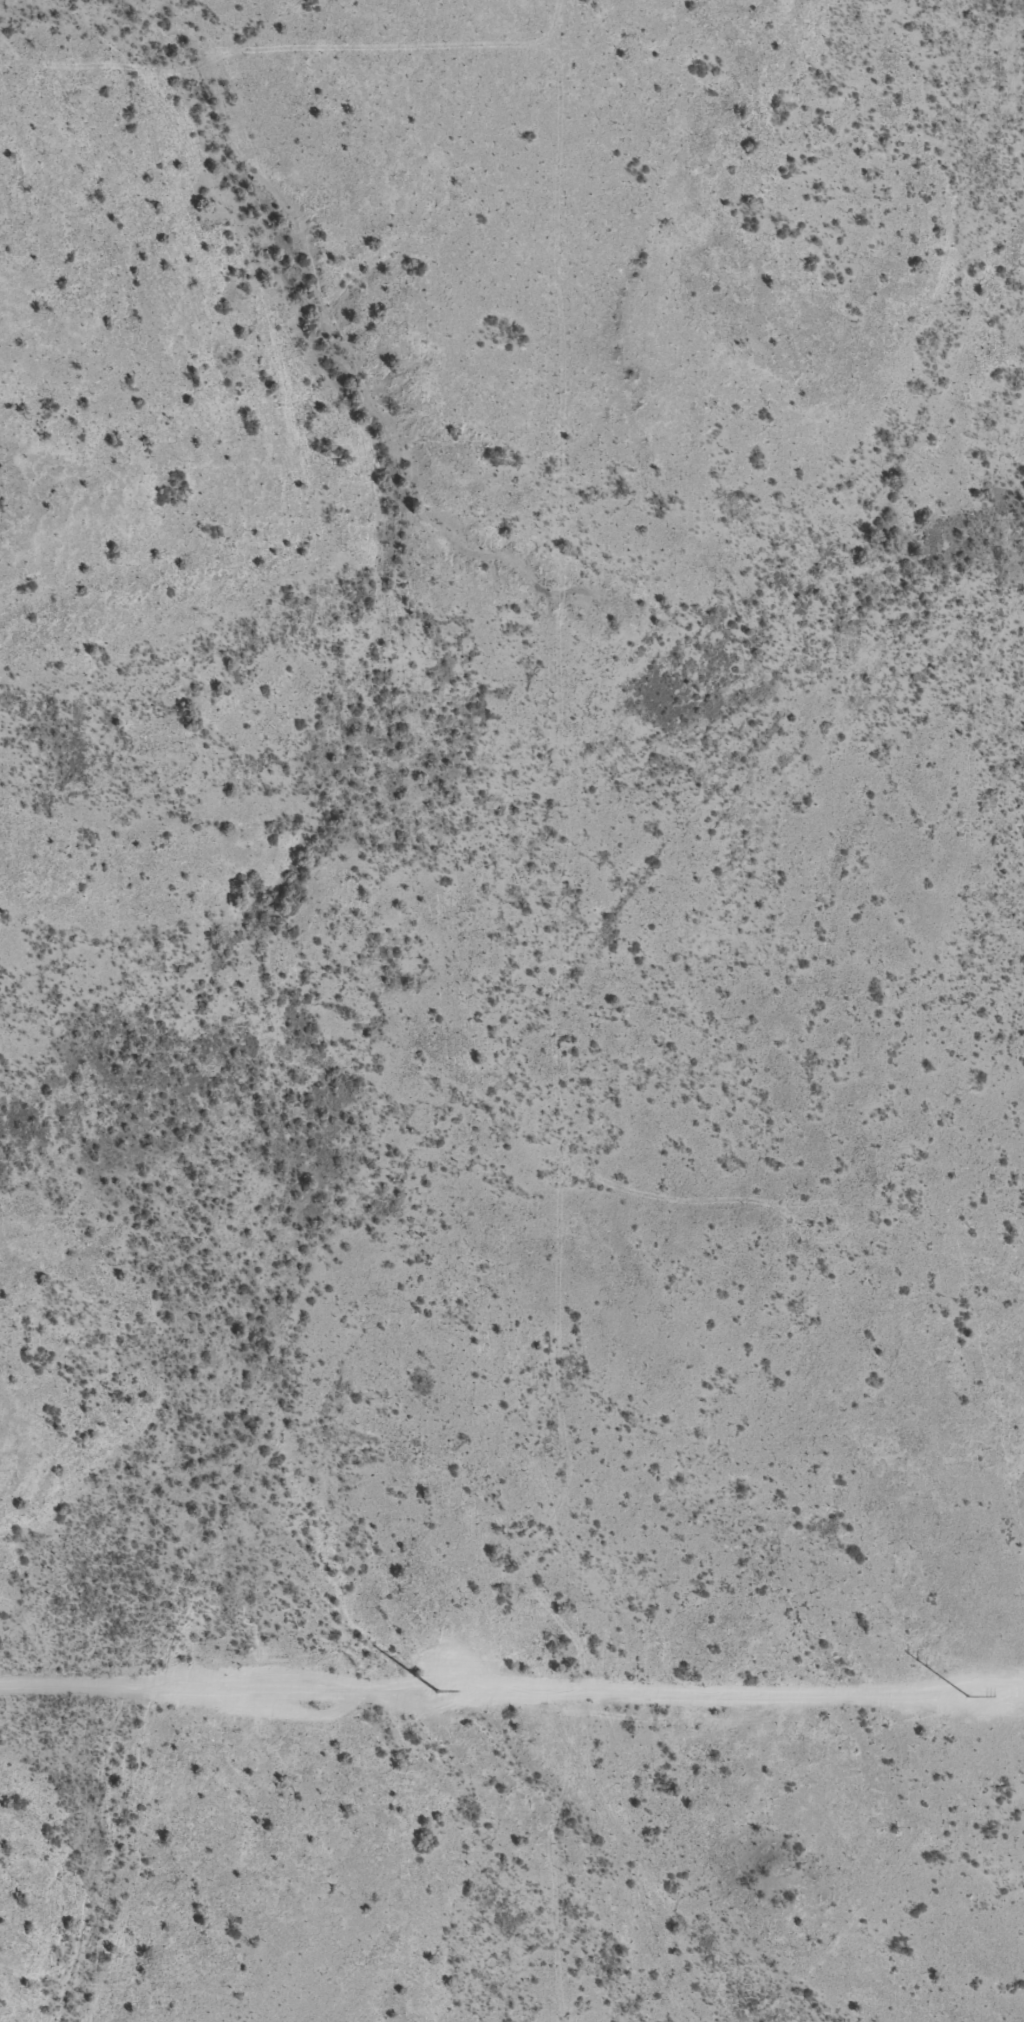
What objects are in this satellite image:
power tower: (453, 1694)
power tower: (1006, 1699)

